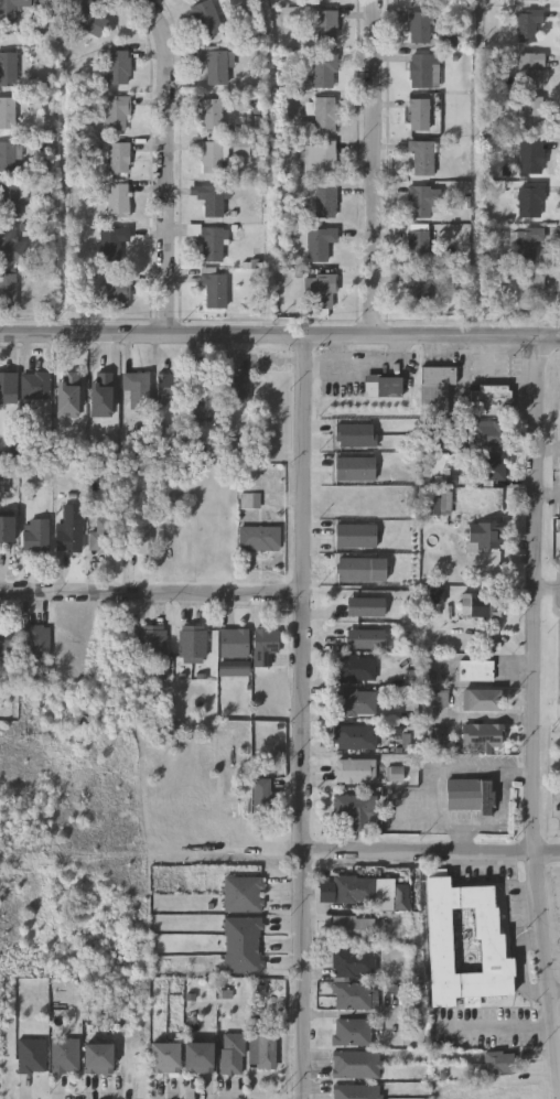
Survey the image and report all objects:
building: (324, 0)
building: (531, 1)
building: (11, 10)
building: (87, 19)
building: (205, 19)
building: (528, 26)
building: (326, 28)
building: (420, 29)
building: (216, 66)
building: (117, 68)
building: (8, 71)
building: (531, 71)
building: (325, 73)
building: (423, 73)
building: (117, 114)
building: (7, 115)
building: (211, 116)
building: (325, 116)
building: (534, 116)
building: (418, 117)
building: (208, 157)
building: (7, 158)
building: (324, 158)
building: (119, 159)
building: (422, 159)
building: (531, 159)
road: (170, 164)
road: (374, 166)
building: (209, 200)
building: (9, 202)
building: (118, 202)
building: (531, 202)
building: (326, 203)
building: (422, 203)
building: (112, 245)
building: (214, 245)
building: (320, 245)
building: (526, 245)
building: (11, 247)
building: (418, 248)
building: (8, 290)
building: (118, 292)
building: (214, 292)
building: (419, 292)
building: (323, 293)
building: (529, 294)
road: (280, 334)
road: (342, 351)
road: (363, 365)
building: (36, 385)
building: (383, 386)
building: (435, 386)
building: (169, 388)
building: (8, 390)
building: (137, 390)
building: (237, 390)
building: (205, 396)
building: (489, 398)
building: (491, 432)
building: (355, 433)
building: (492, 466)
building: (354, 467)
road: (548, 494)
building: (437, 500)
building: (71, 528)
building: (7, 529)
building: (37, 535)
building: (139, 535)
building: (355, 535)
building: (483, 536)
building: (104, 537)
building: (261, 538)
building: (359, 568)
road: (548, 588)
road: (150, 593)
building: (480, 604)
building: (364, 605)
building: (364, 637)
building: (6, 639)
building: (34, 640)
building: (152, 644)
building: (193, 645)
building: (234, 645)
building: (265, 648)
building: (353, 668)
building: (474, 670)
building: (480, 699)
building: (353, 701)
road: (535, 708)
road: (301, 716)
building: (354, 736)
building: (480, 736)
building: (354, 769)
building: (470, 795)
building: (265, 801)
building: (353, 809)
road: (431, 854)
building: (353, 891)
building: (243, 896)
building: (401, 897)
building: (354, 931)
building: (464, 945)
building: (243, 946)
building: (354, 965)
road: (554, 990)
building: (353, 998)
road: (503, 1026)
building: (353, 1034)
building: (266, 1052)
building: (233, 1054)
building: (31, 1056)
building: (64, 1056)
building: (163, 1057)
building: (197, 1057)
building: (97, 1059)
building: (500, 1065)
building: (356, 1066)
building: (356, 1092)

